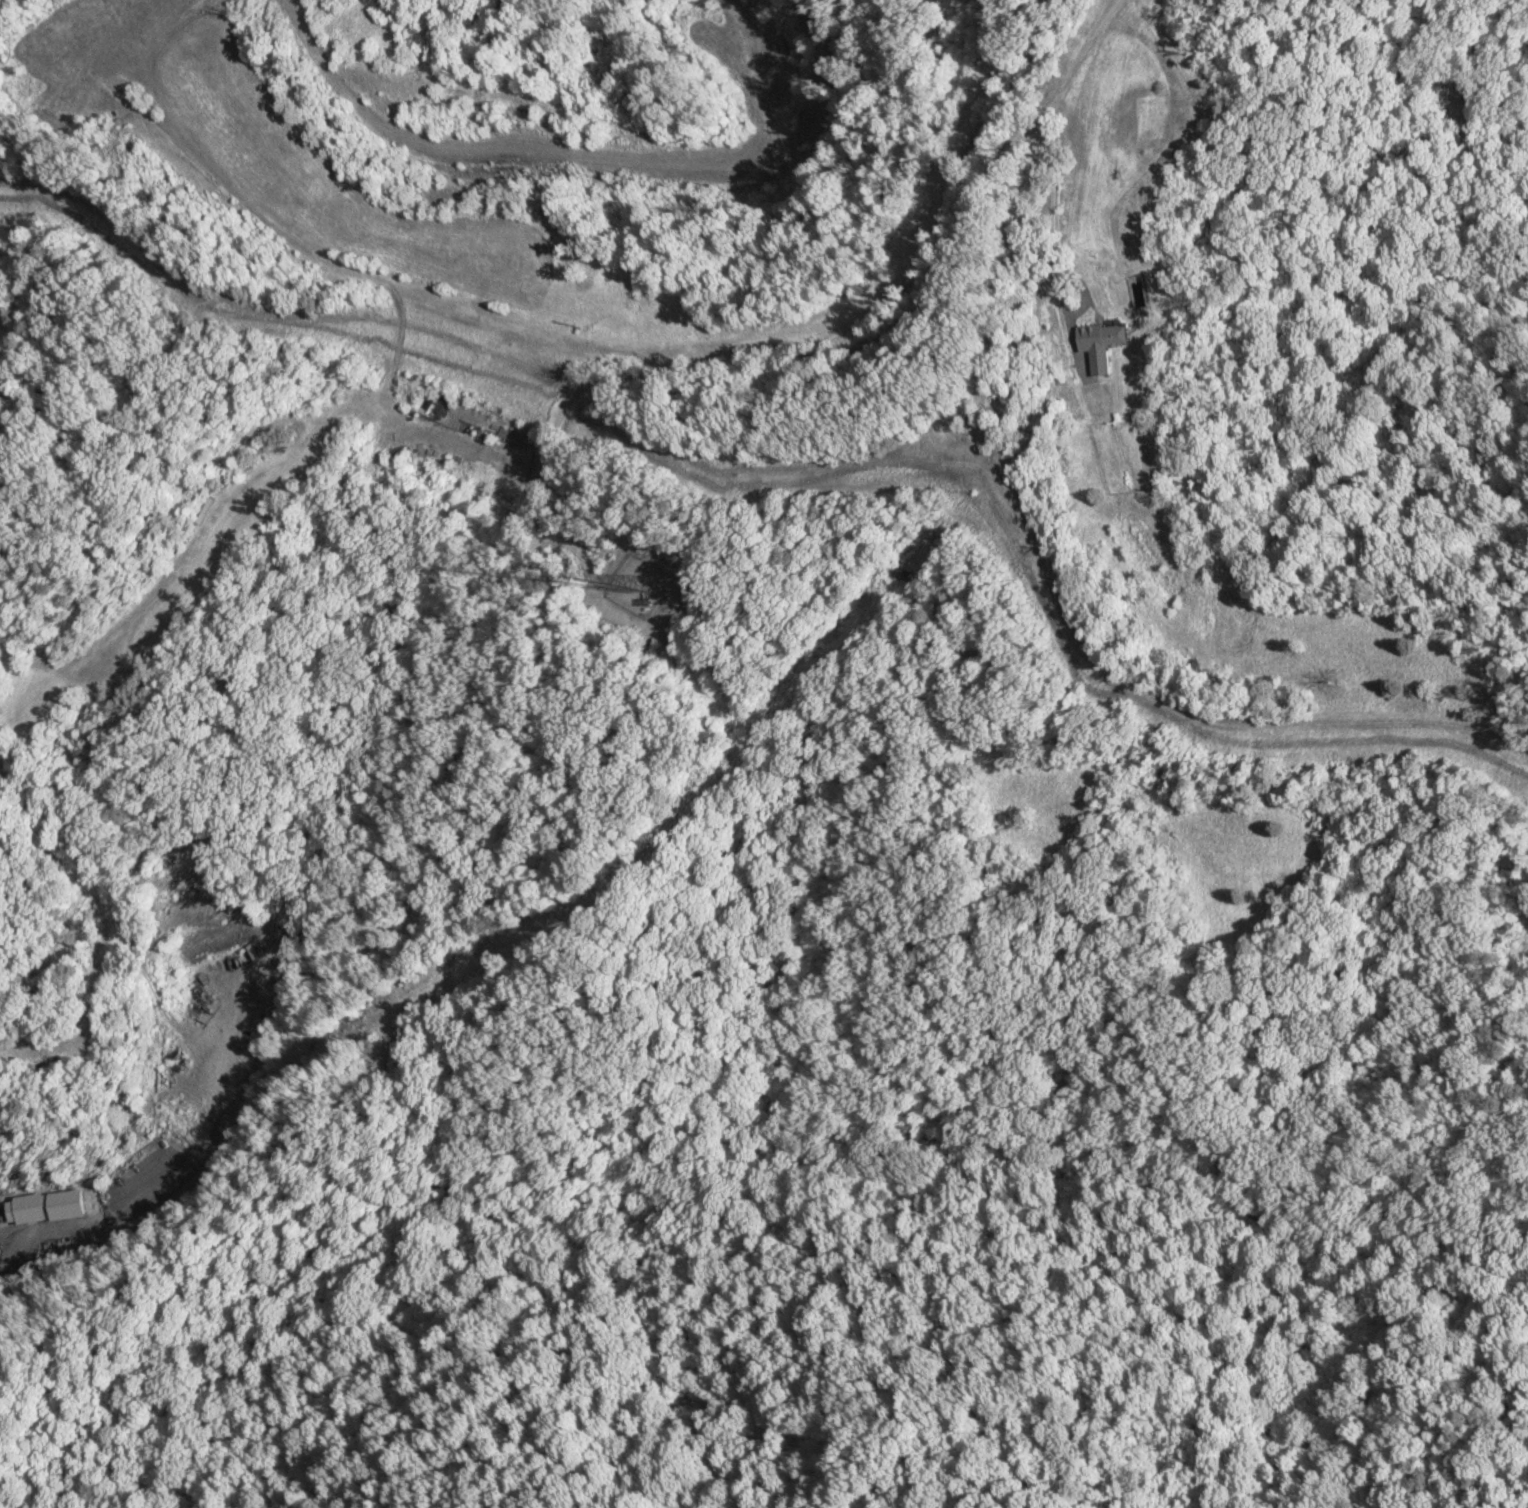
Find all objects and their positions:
building: (1101, 343)
building: (135, 401)
building: (341, 436)
road: (503, 647)
building: (45, 1206)

